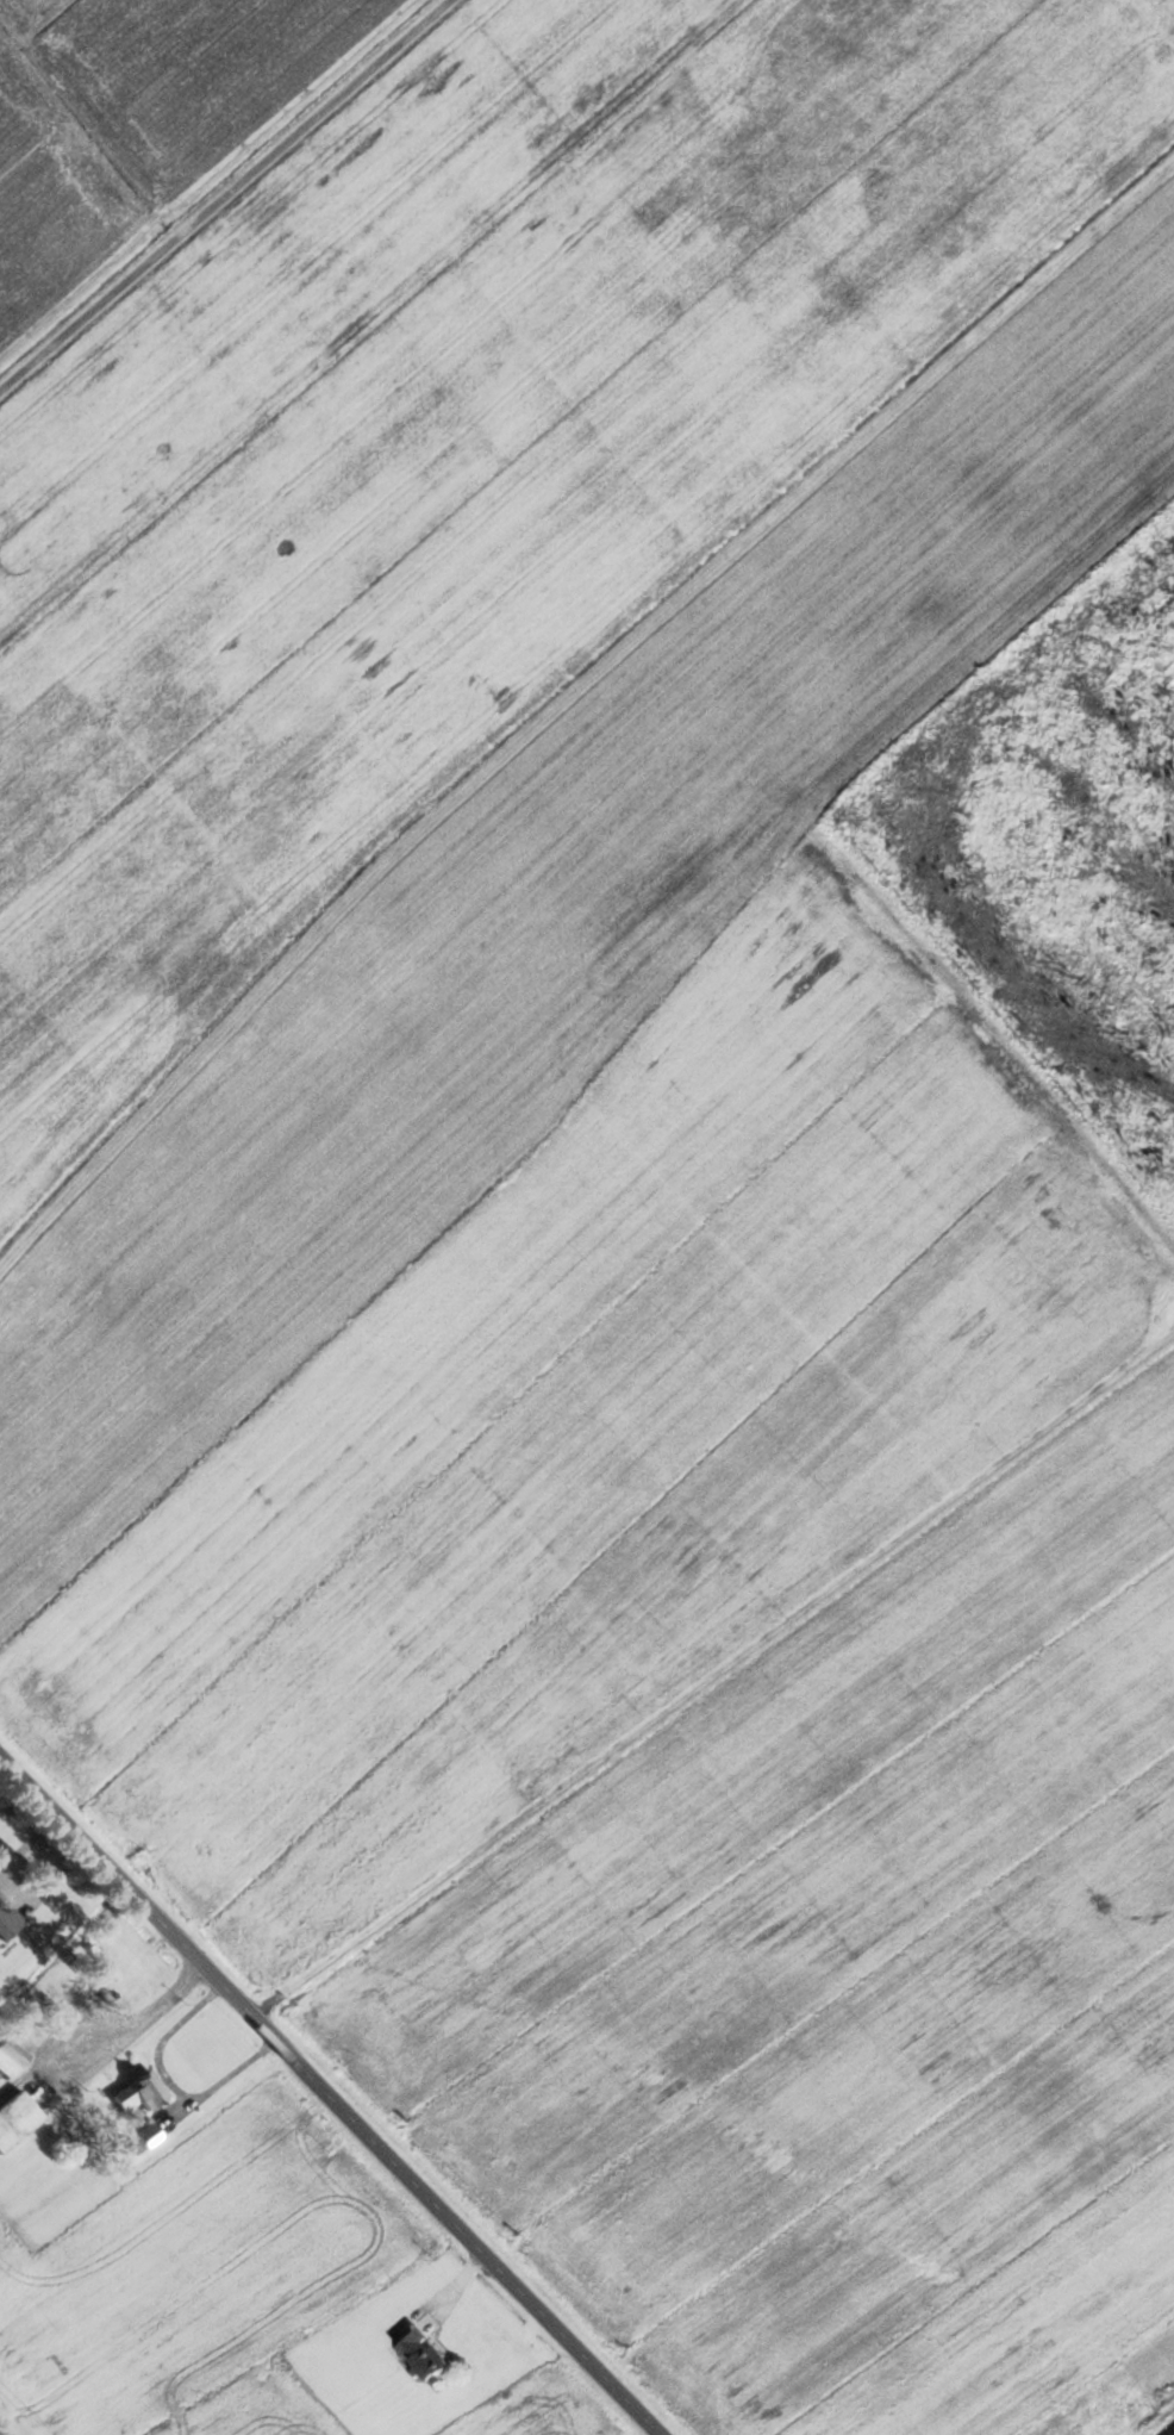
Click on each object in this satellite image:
road: (224, 194)
road: (570, 696)
road: (11, 1892)
building: (5, 1920)
building: (98, 1962)
road: (132, 2023)
building: (8, 2059)
road: (168, 2086)
building: (135, 2092)
road: (326, 2099)
building: (14, 2117)
building: (145, 2136)
building: (418, 2352)

